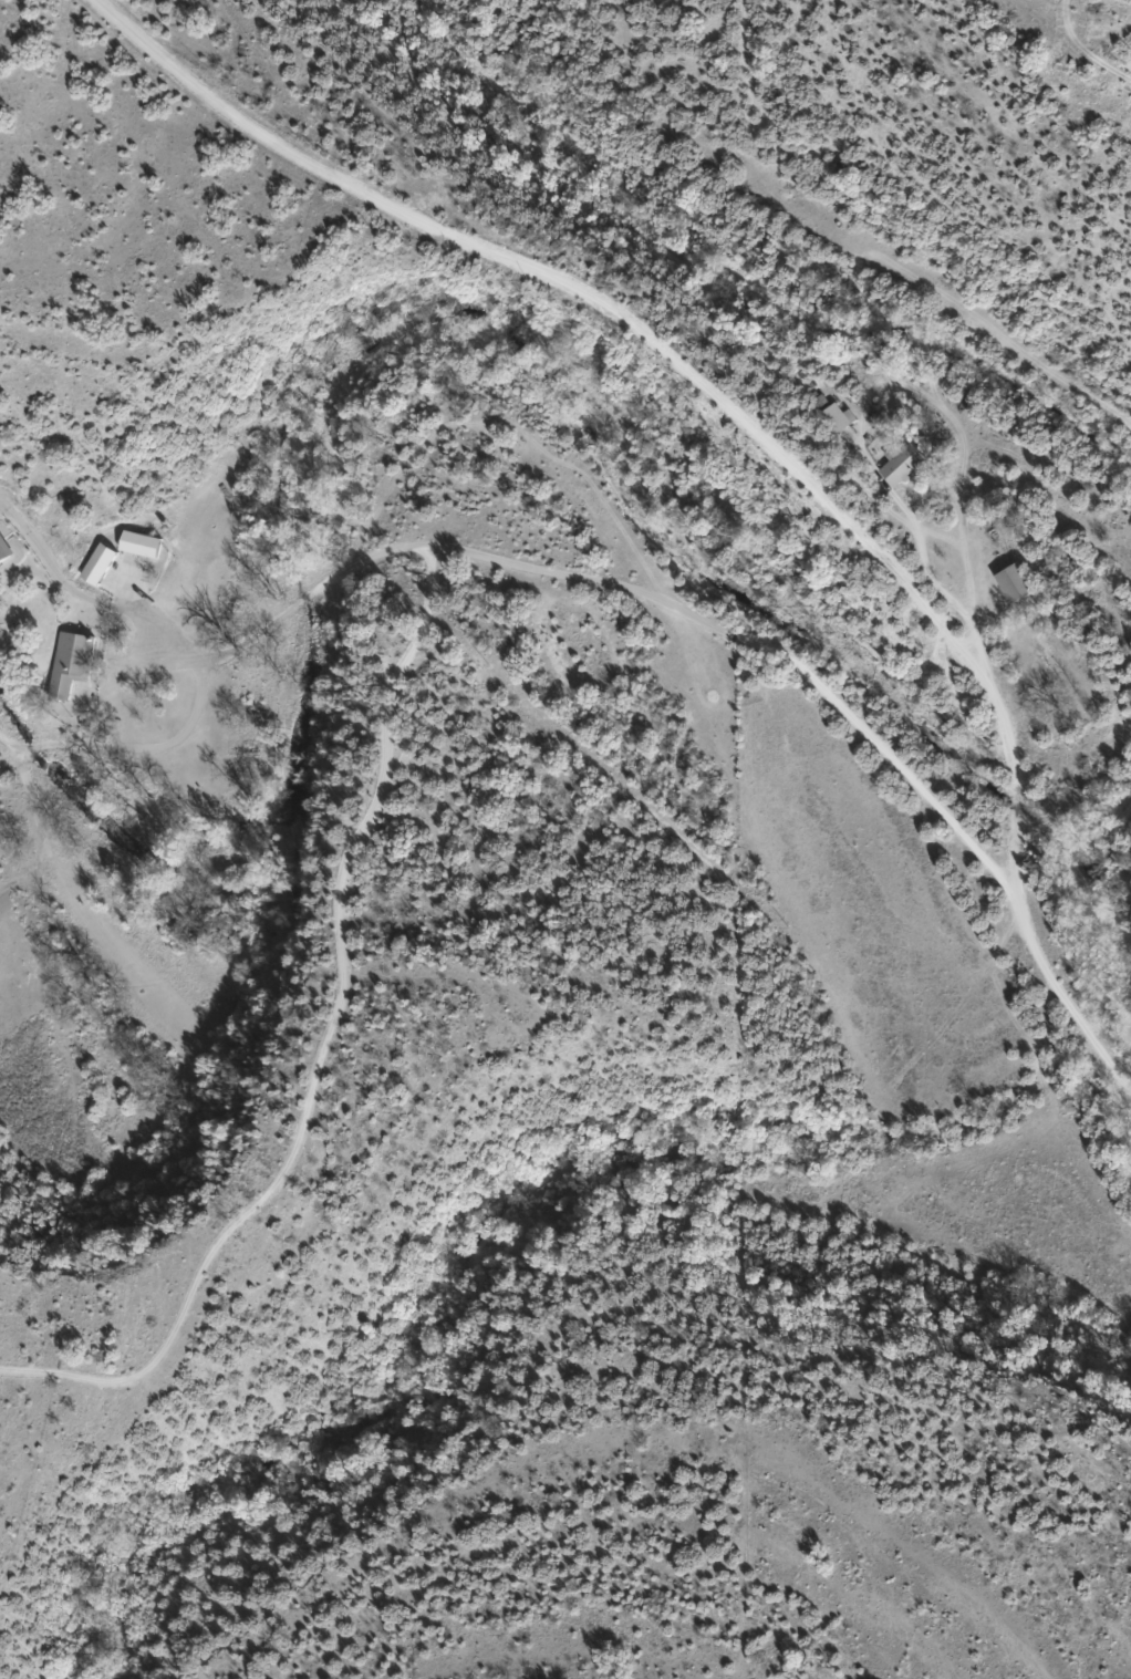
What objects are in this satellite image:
building: (834, 416)
road: (726, 425)
building: (895, 465)
building: (144, 545)
building: (3, 553)
building: (101, 564)
building: (1007, 582)
building: (73, 663)

